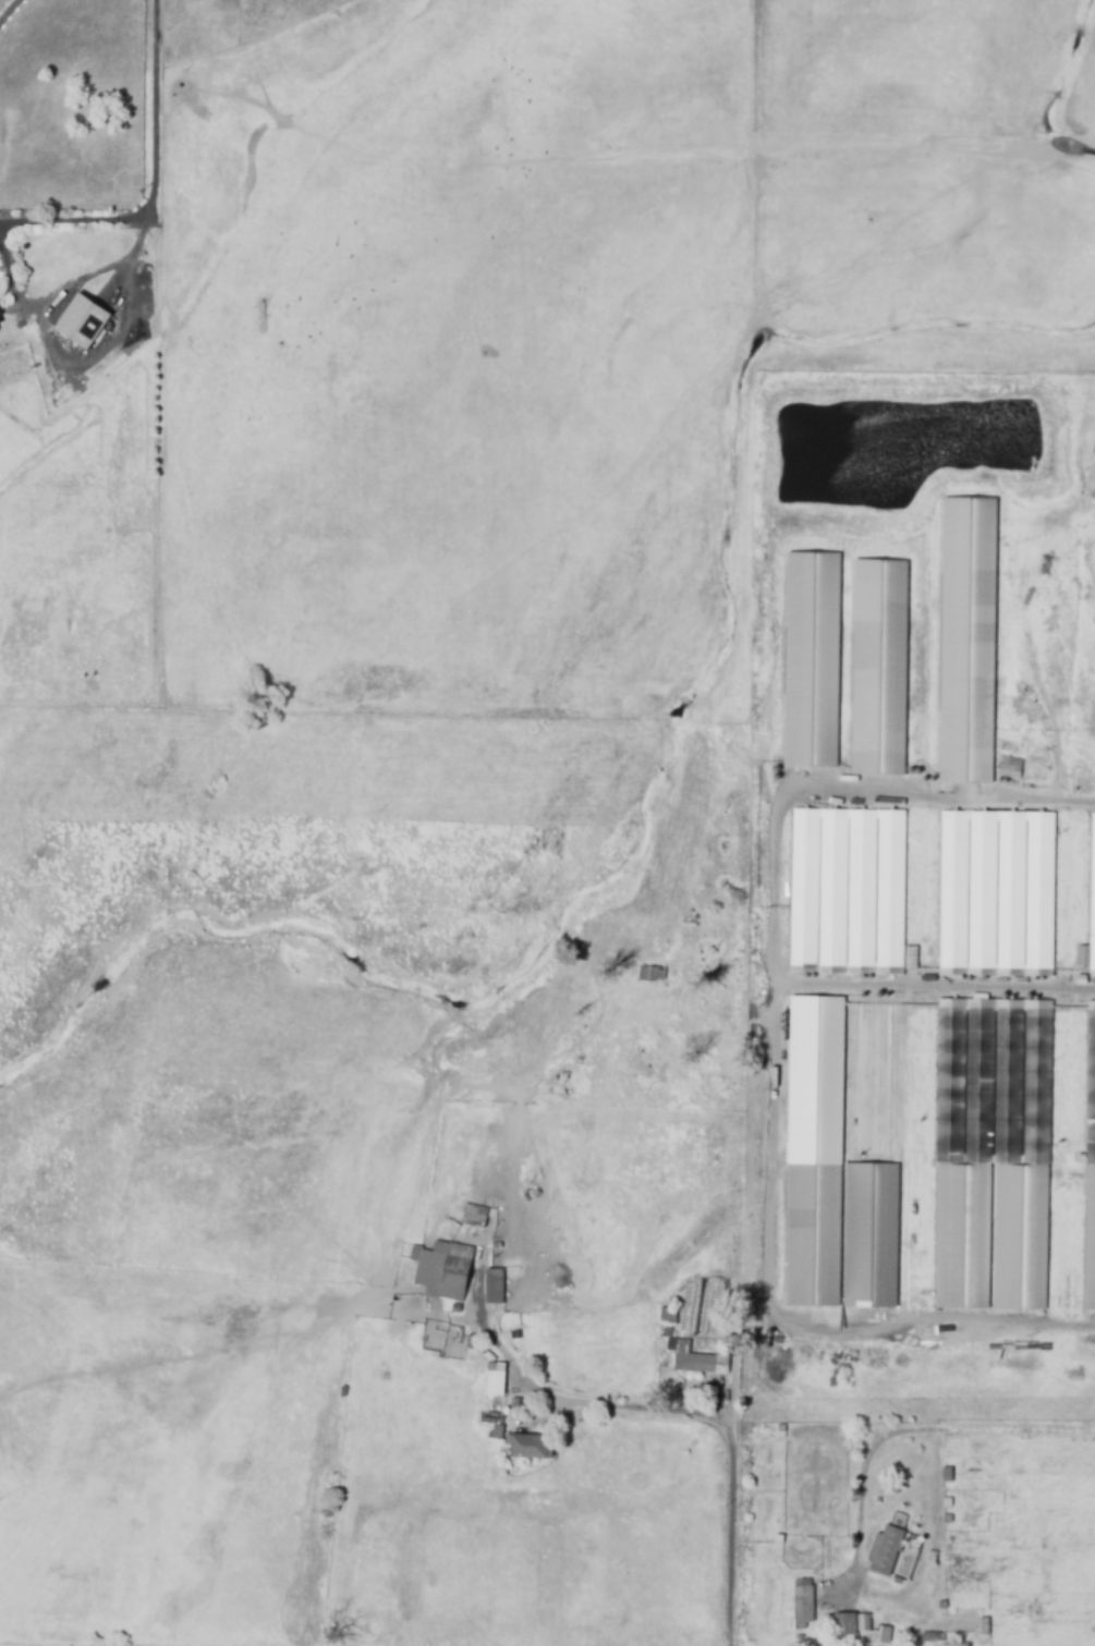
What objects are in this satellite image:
road: (9, 9)
road: (153, 107)
road: (71, 221)
road: (126, 258)
building: (80, 320)
building: (966, 642)
building: (808, 661)
building: (878, 668)
building: (1008, 770)
building: (849, 892)
building: (997, 892)
building: (1093, 903)
building: (652, 972)
road: (770, 1062)
building: (843, 1081)
building: (994, 1081)
building: (1091, 1086)
building: (473, 1215)
building: (812, 1236)
building: (869, 1239)
building: (961, 1239)
building: (1020, 1240)
building: (1088, 1245)
building: (439, 1266)
building: (492, 1288)
road: (476, 1306)
building: (667, 1317)
building: (470, 1342)
building: (696, 1361)
building: (494, 1378)
building: (459, 1381)
road: (599, 1405)
road: (901, 1430)
building: (528, 1444)
road: (729, 1532)
road: (928, 1540)
building: (884, 1551)
building: (801, 1605)
building: (842, 1627)

